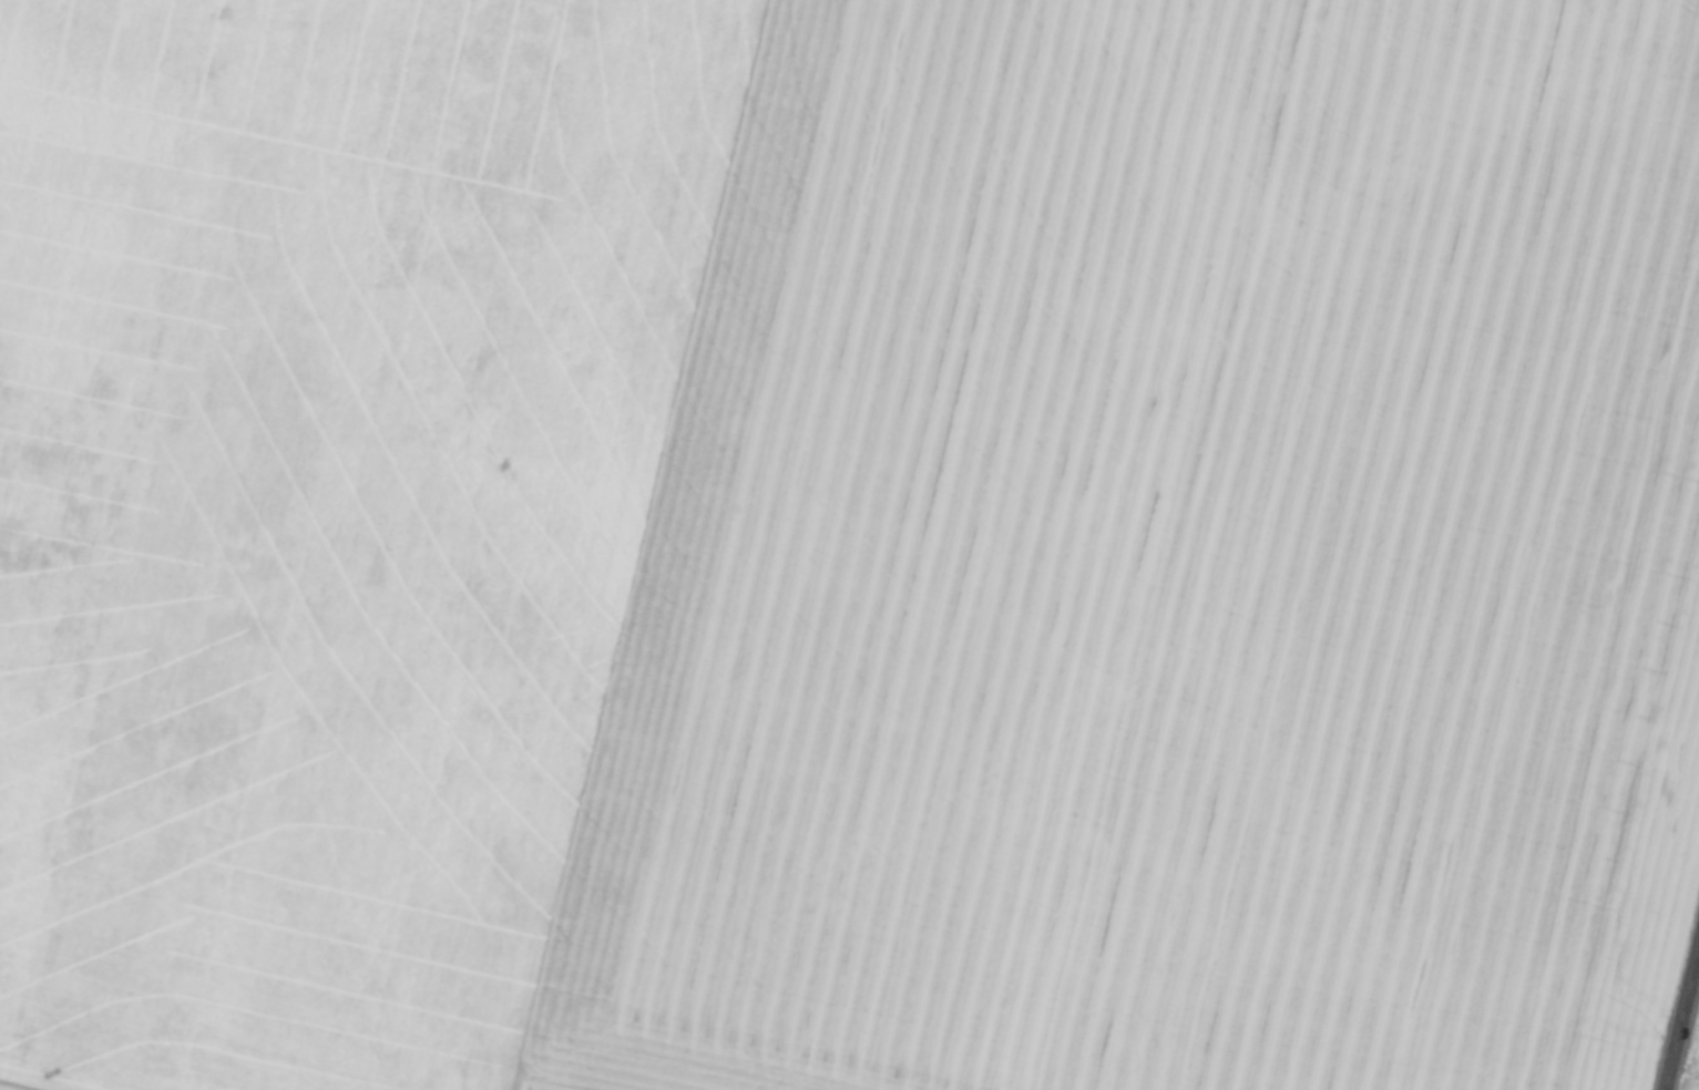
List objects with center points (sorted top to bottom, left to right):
crop: (846, 543)
road: (1679, 1007)
crop: (1691, 1060)

